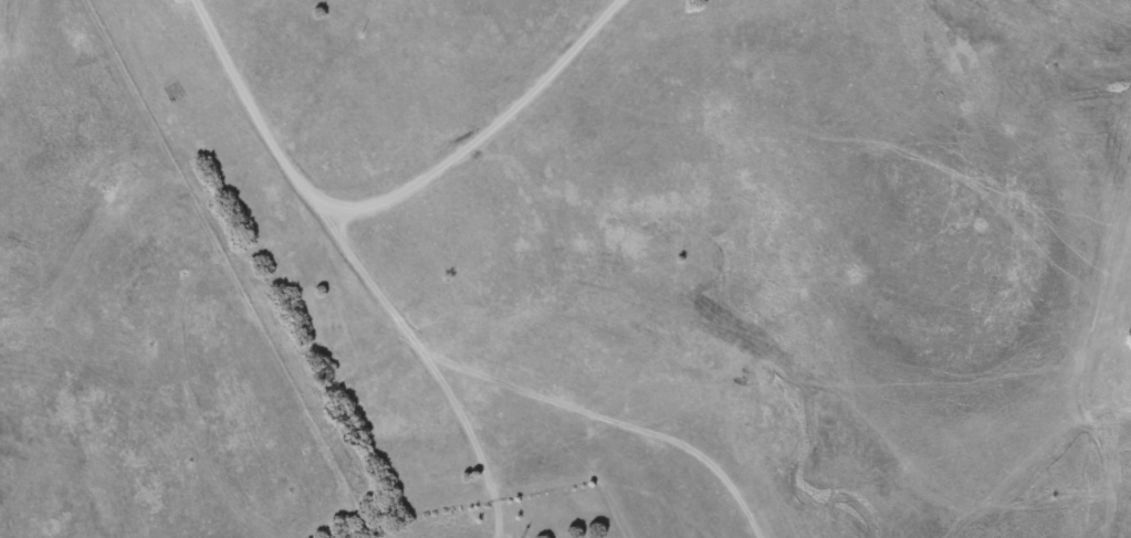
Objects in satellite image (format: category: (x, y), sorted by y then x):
road: (481, 135)
road: (356, 264)
road: (611, 423)

